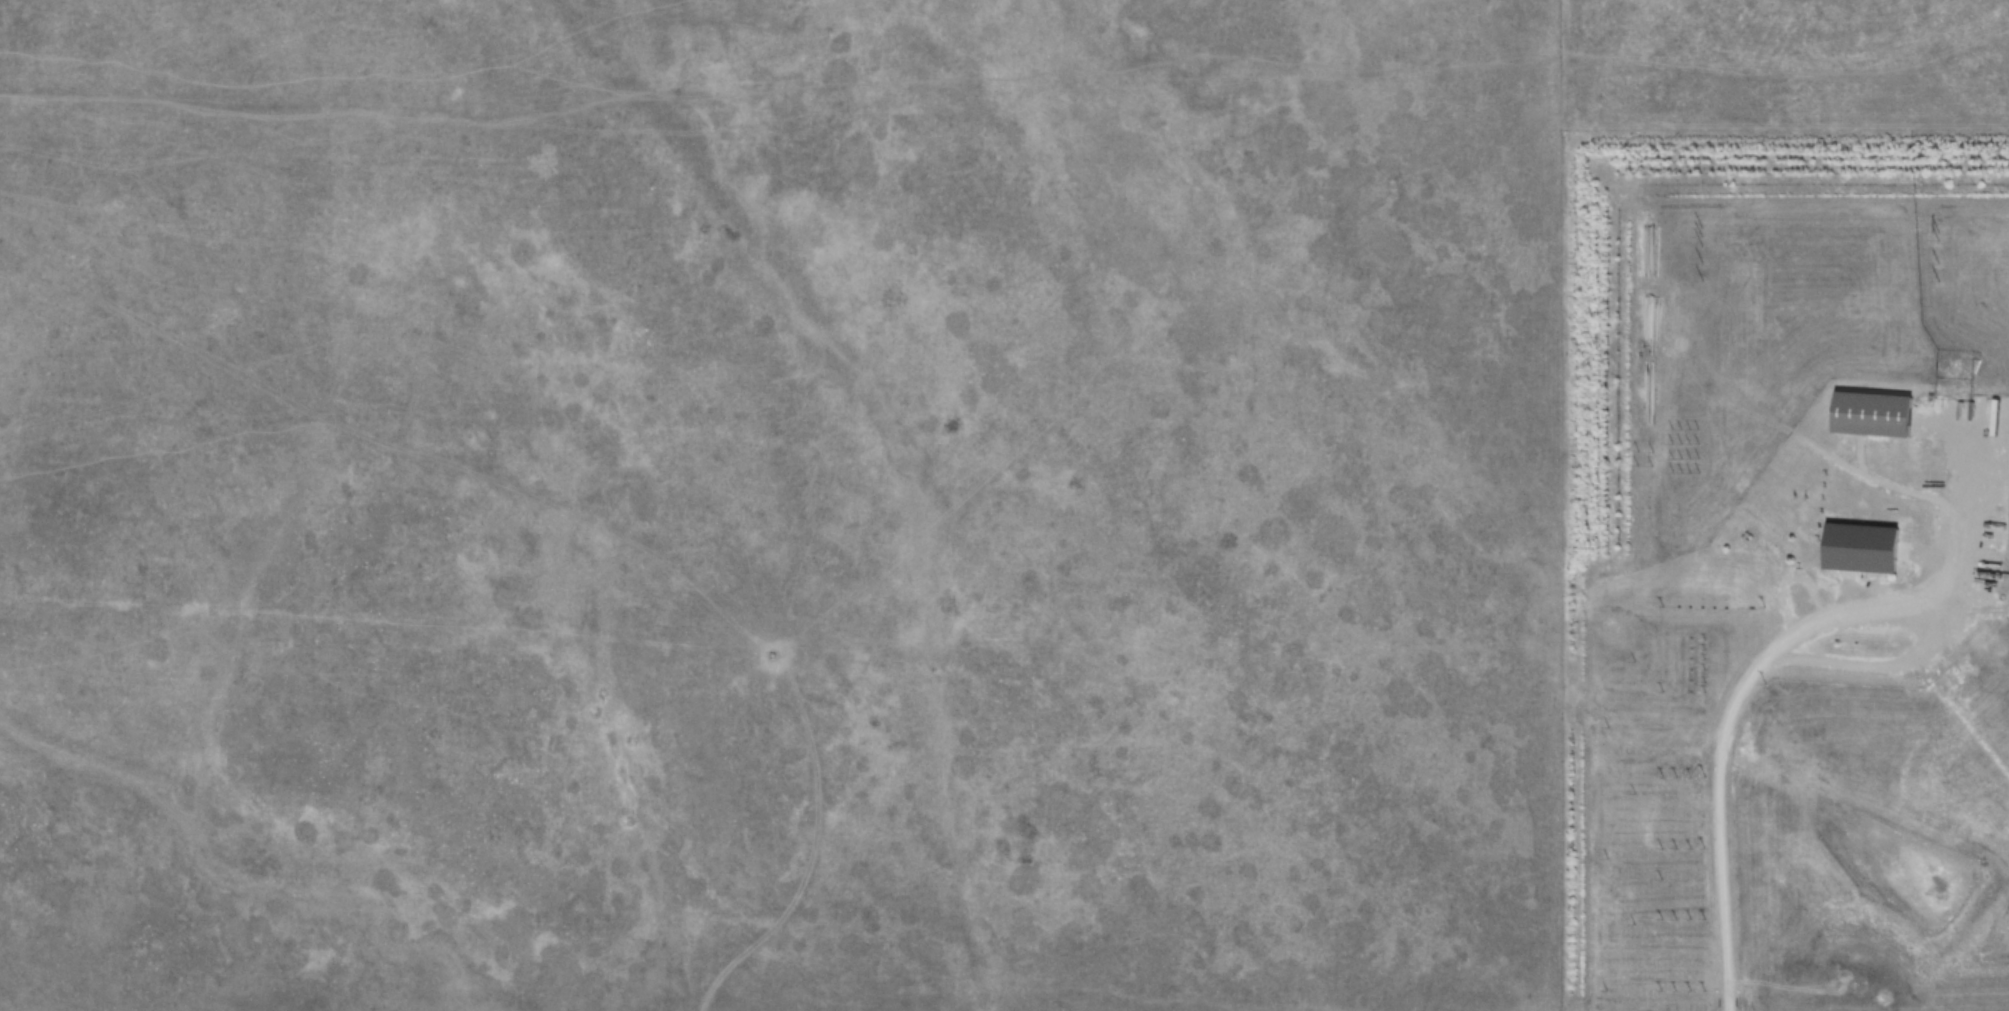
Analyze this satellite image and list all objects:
building: (1865, 405)
building: (1749, 537)
building: (1852, 540)

